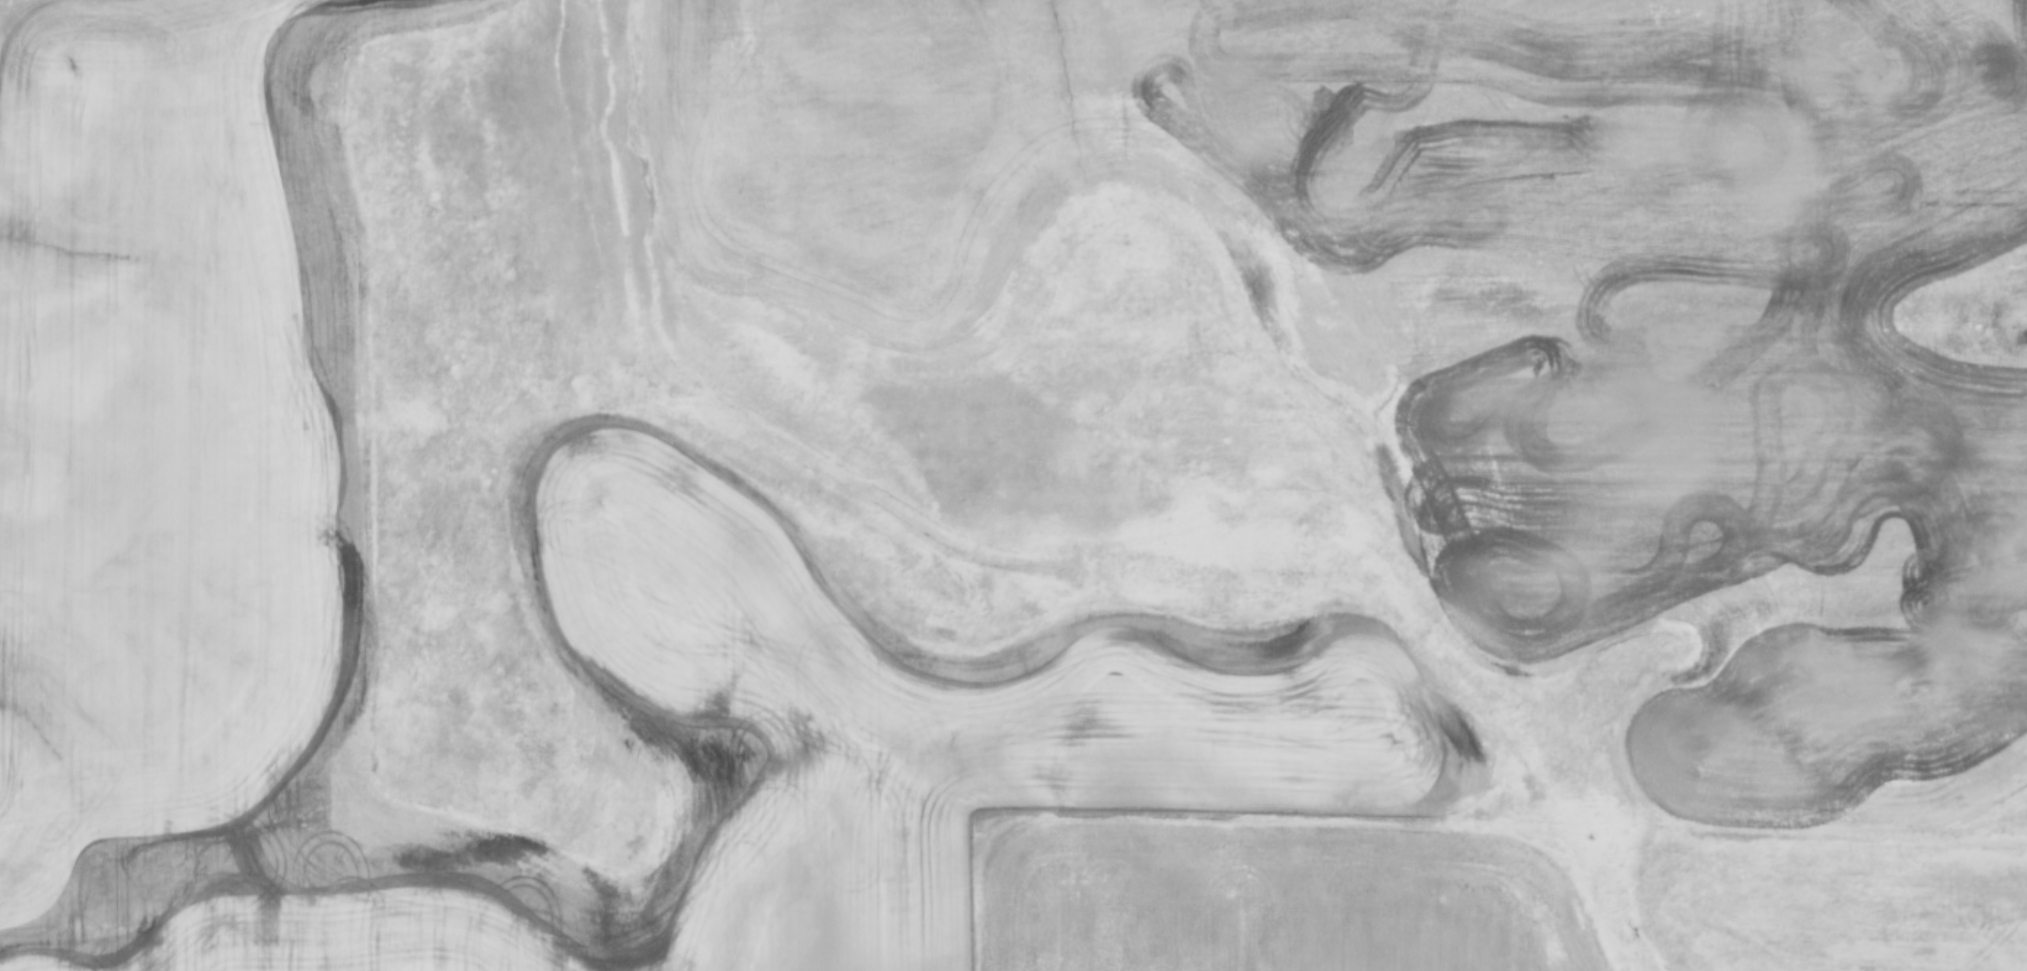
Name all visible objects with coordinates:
building: (2007, 177)
building: (1888, 267)

